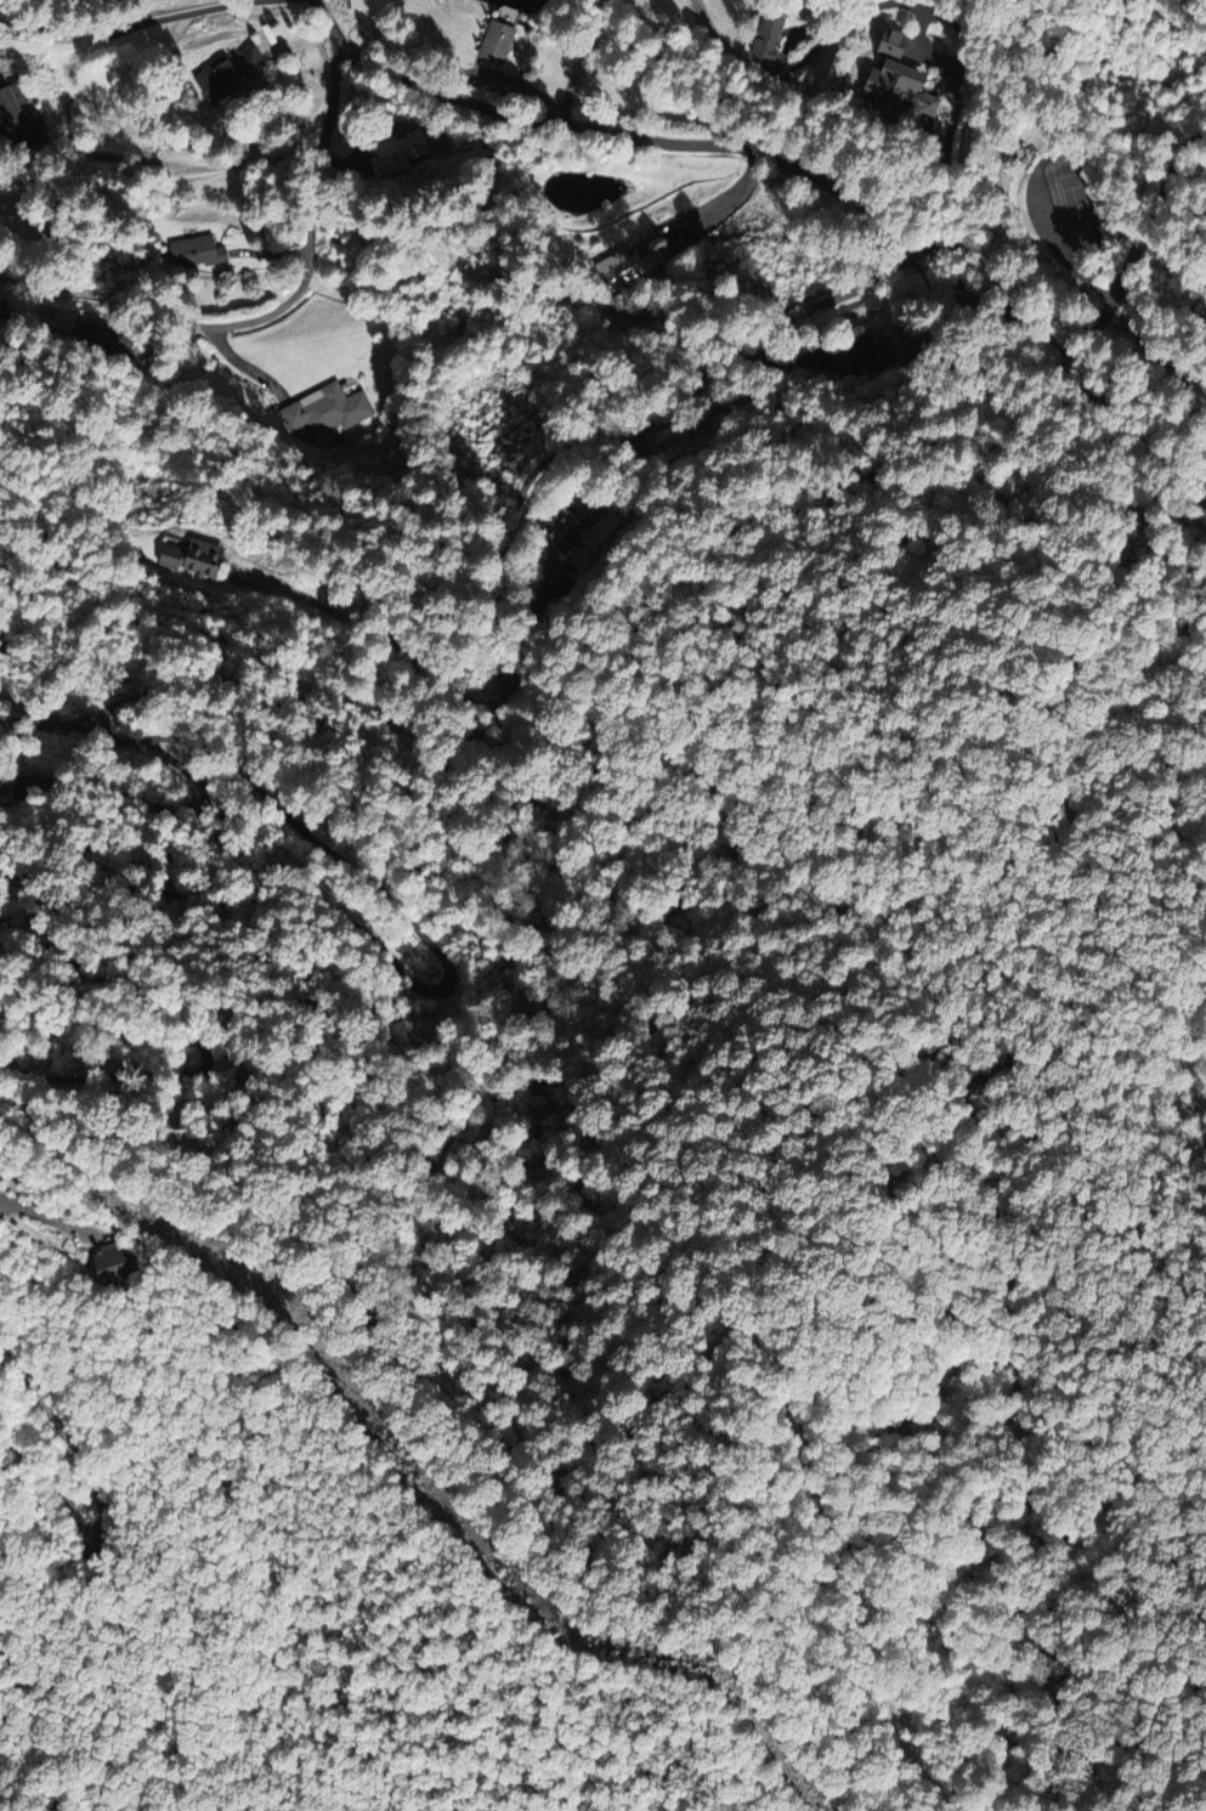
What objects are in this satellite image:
road: (126, 26)
building: (766, 36)
building: (493, 41)
building: (888, 44)
building: (225, 72)
building: (891, 91)
building: (11, 103)
road: (610, 132)
building: (395, 153)
road: (208, 171)
road: (727, 198)
building: (193, 250)
building: (627, 267)
road: (277, 312)
road: (1098, 317)
building: (857, 352)
building: (324, 409)
building: (570, 525)
building: (188, 556)
road: (168, 683)
road: (53, 723)
road: (198, 1039)
road: (38, 1215)
building: (104, 1264)
road: (584, 1393)
road: (94, 1493)

